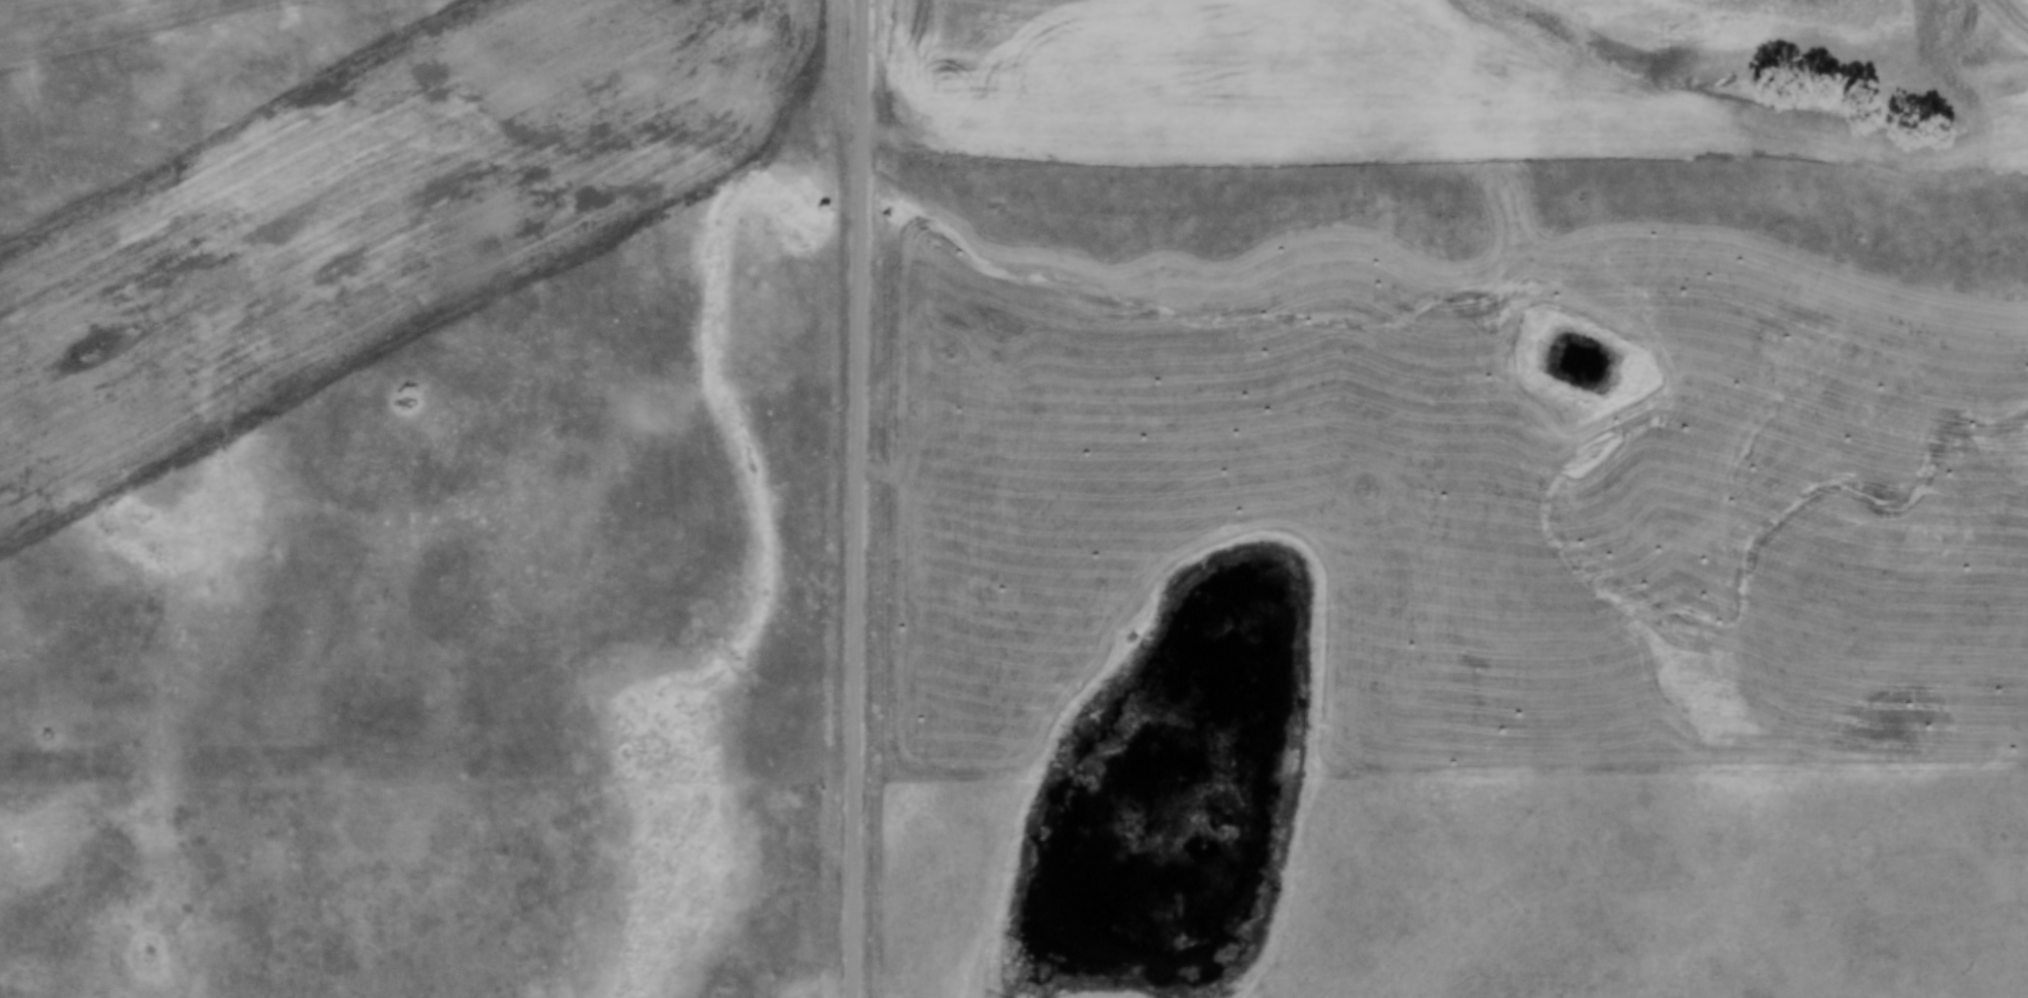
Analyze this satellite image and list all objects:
road: (858, 499)

